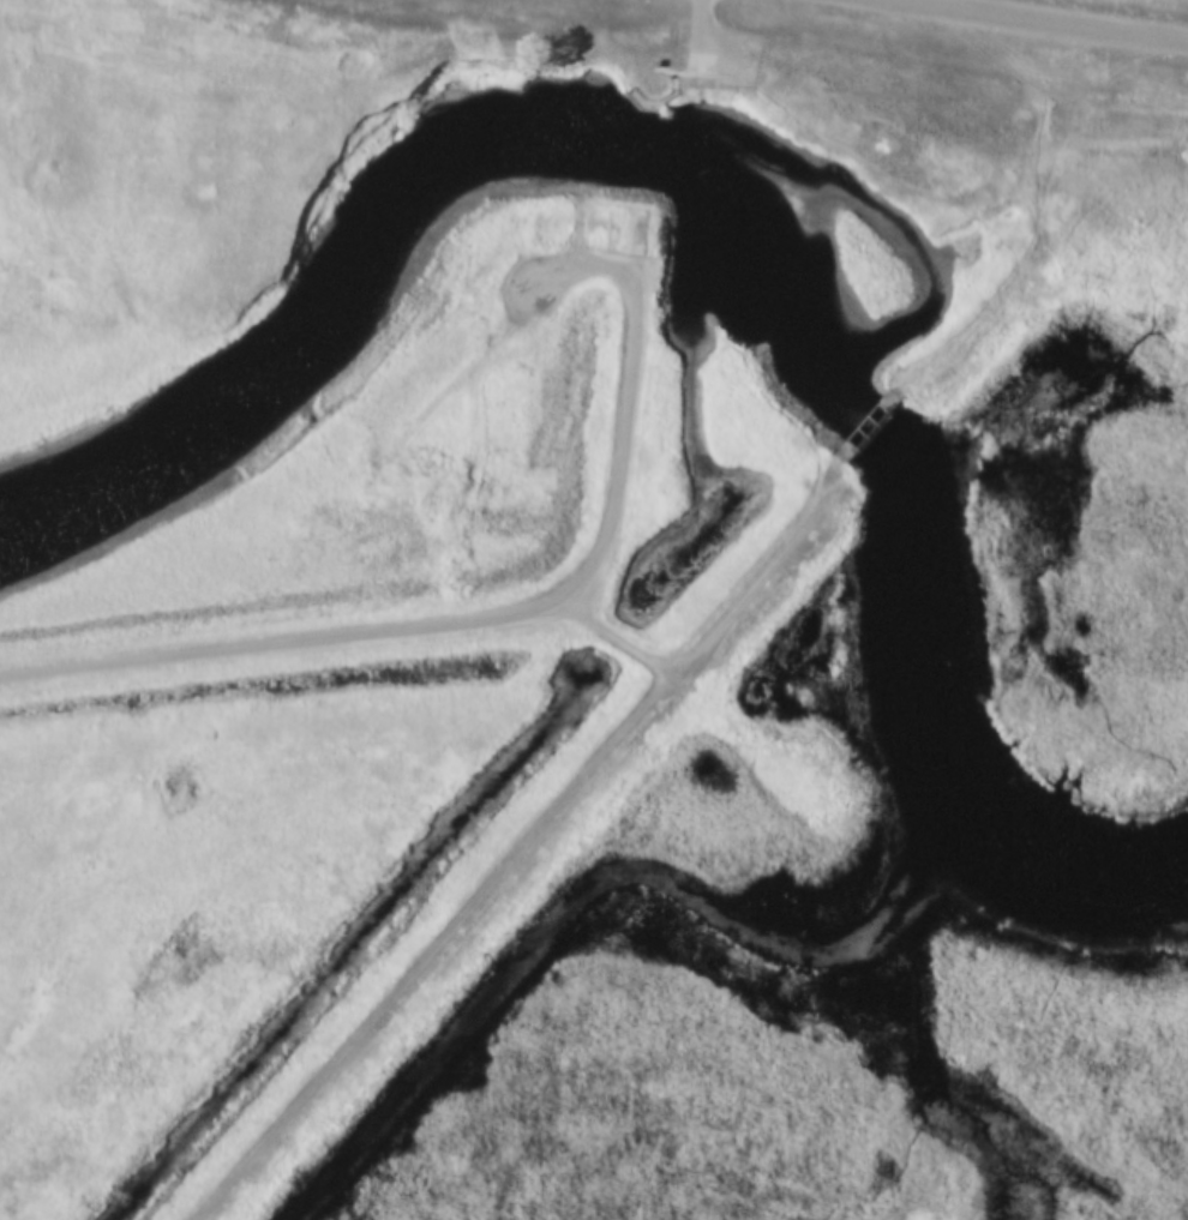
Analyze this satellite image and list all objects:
road: (1063, 17)
road: (709, 28)
river: (455, 166)
road: (968, 190)
road: (510, 607)
road: (622, 632)
river: (959, 743)
dam: (647, 752)
road: (524, 845)

